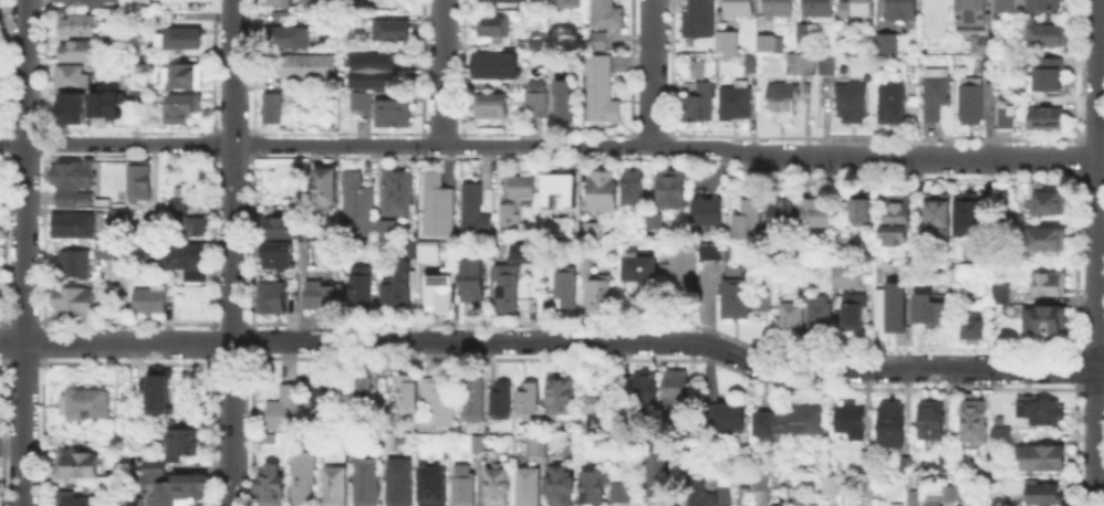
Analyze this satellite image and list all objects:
building: (94, 1)
building: (503, 1)
building: (283, 2)
building: (566, 2)
building: (320, 3)
building: (1048, 4)
building: (1008, 7)
building: (742, 9)
building: (821, 9)
building: (858, 9)
building: (781, 10)
building: (904, 10)
building: (604, 14)
building: (281, 15)
building: (700, 19)
building: (79, 24)
building: (977, 24)
building: (494, 28)
building: (392, 31)
building: (809, 35)
building: (288, 38)
building: (1045, 38)
building: (183, 39)
building: (595, 39)
building: (112, 40)
building: (730, 42)
building: (767, 44)
building: (889, 46)
building: (540, 48)
building: (80, 53)
building: (112, 64)
building: (752, 64)
building: (803, 64)
building: (310, 66)
building: (498, 66)
building: (829, 66)
building: (989, 67)
building: (376, 71)
building: (699, 71)
road: (441, 73)
road: (653, 73)
building: (70, 75)
building: (186, 76)
building: (1048, 76)
building: (604, 91)
building: (134, 94)
building: (937, 95)
building: (538, 99)
building: (363, 102)
building: (893, 102)
building: (971, 102)
building: (105, 103)
building: (566, 103)
building: (737, 103)
building: (853, 103)
building: (699, 105)
building: (783, 105)
building: (71, 106)
building: (186, 108)
building: (492, 108)
building: (274, 109)
building: (395, 115)
building: (1007, 119)
building: (1048, 119)
road: (552, 146)
building: (143, 182)
building: (74, 185)
building: (522, 186)
building: (329, 187)
building: (562, 189)
building: (634, 189)
building: (673, 190)
building: (604, 191)
building: (400, 196)
building: (1051, 203)
building: (178, 205)
building: (439, 205)
building: (358, 208)
building: (863, 210)
building: (476, 212)
building: (710, 212)
building: (816, 213)
building: (939, 213)
building: (121, 214)
building: (508, 214)
building: (782, 214)
building: (972, 219)
building: (749, 221)
building: (898, 221)
building: (653, 222)
building: (73, 223)
building: (190, 226)
building: (283, 229)
building: (593, 230)
building: (390, 232)
building: (1051, 240)
building: (113, 251)
building: (142, 251)
building: (426, 251)
road: (25, 253)
road: (233, 253)
building: (716, 253)
road: (1097, 253)
building: (279, 255)
building: (303, 257)
building: (188, 261)
building: (75, 265)
building: (589, 266)
building: (640, 268)
building: (683, 274)
building: (850, 277)
building: (397, 278)
building: (475, 281)
building: (1052, 285)
building: (566, 288)
building: (363, 289)
building: (439, 289)
building: (509, 289)
building: (322, 295)
building: (1003, 296)
building: (603, 297)
building: (150, 298)
building: (275, 299)
building: (73, 301)
building: (743, 302)
building: (855, 313)
building: (936, 314)
building: (902, 315)
building: (822, 316)
building: (1044, 320)
street lamp: (8, 321)
building: (792, 321)
building: (977, 326)
road: (553, 341)
building: (678, 388)
building: (648, 390)
building: (162, 391)
building: (366, 393)
building: (408, 393)
building: (321, 394)
building: (562, 396)
building: (476, 399)
building: (530, 400)
building: (503, 401)
building: (83, 403)
building: (439, 403)
building: (603, 403)
building: (287, 408)
building: (1043, 412)
building: (729, 414)
building: (933, 420)
building: (793, 422)
building: (853, 422)
building: (977, 422)
building: (893, 424)
building: (1003, 436)
building: (184, 441)
road: (12, 443)
building: (479, 444)
building: (1043, 457)
building: (76, 462)
building: (866, 462)
building: (156, 464)
building: (946, 464)
building: (908, 466)
building: (660, 472)
building: (302, 476)
building: (762, 481)
building: (367, 482)
building: (400, 482)
building: (271, 485)
building: (335, 486)
building: (465, 486)
building: (498, 486)
building: (528, 486)
building: (562, 487)
building: (594, 487)
building: (833, 487)
building: (873, 487)
building: (180, 489)
building: (965, 489)
building: (433, 491)
building: (622, 493)
building: (950, 493)
building: (1048, 494)
building: (708, 496)
building: (77, 498)
building: (802, 498)
building: (913, 499)
building: (127, 502)
building: (1003, 502)
building: (894, 504)
building: (775, 505)
building: (941, 505)

